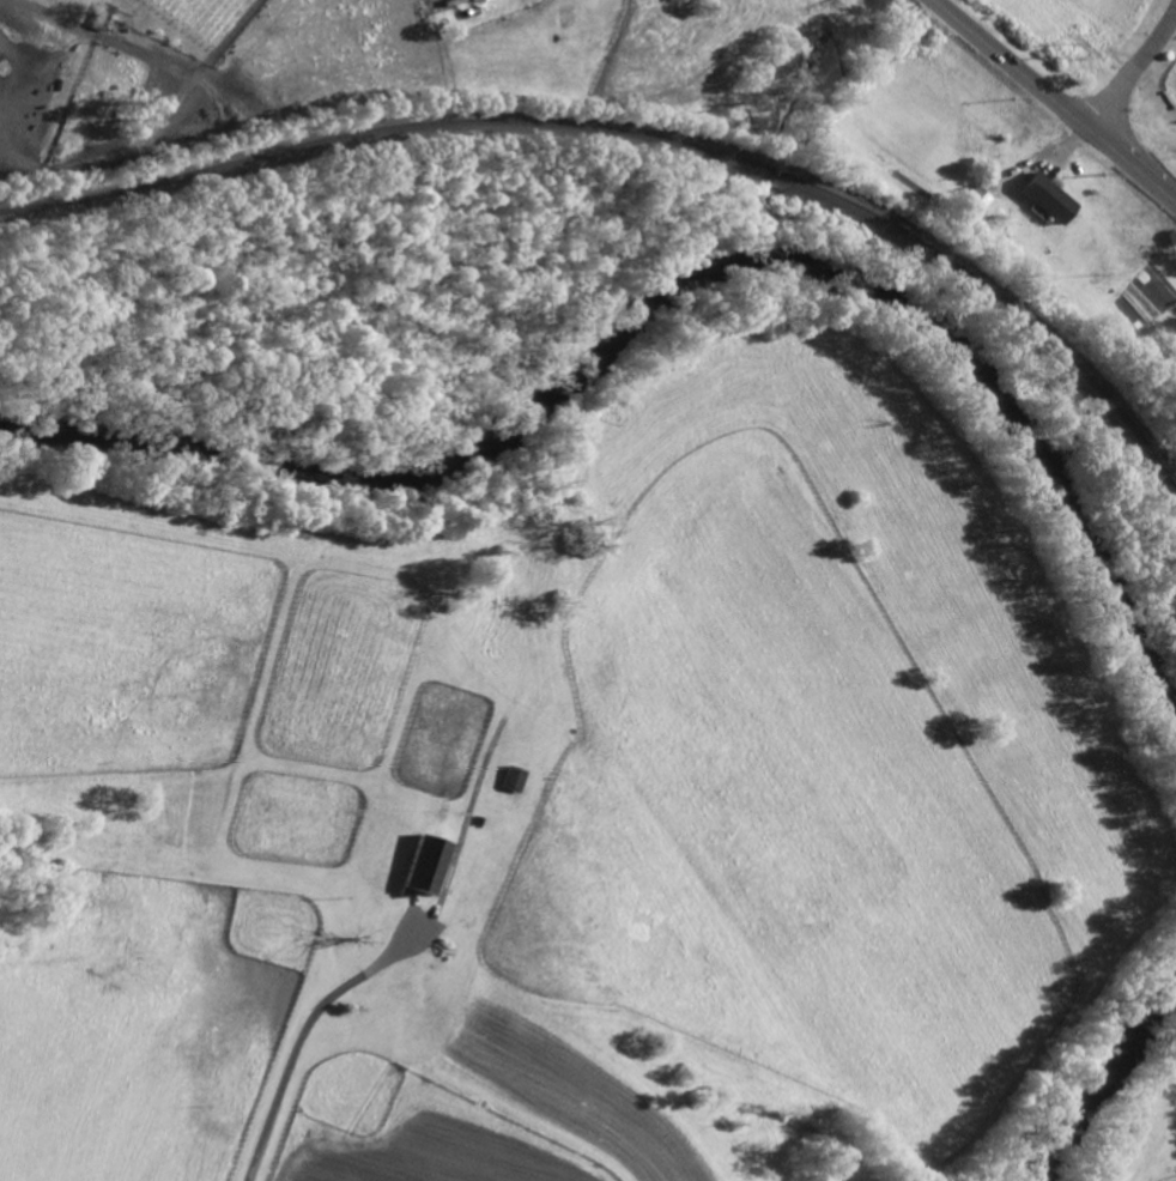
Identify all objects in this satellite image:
building: (473, 0)
road: (1132, 67)
road: (1055, 99)
railway: (647, 135)
building: (1048, 196)
building: (975, 201)
building: (995, 218)
building: (515, 777)
building: (428, 864)
road: (303, 1031)

